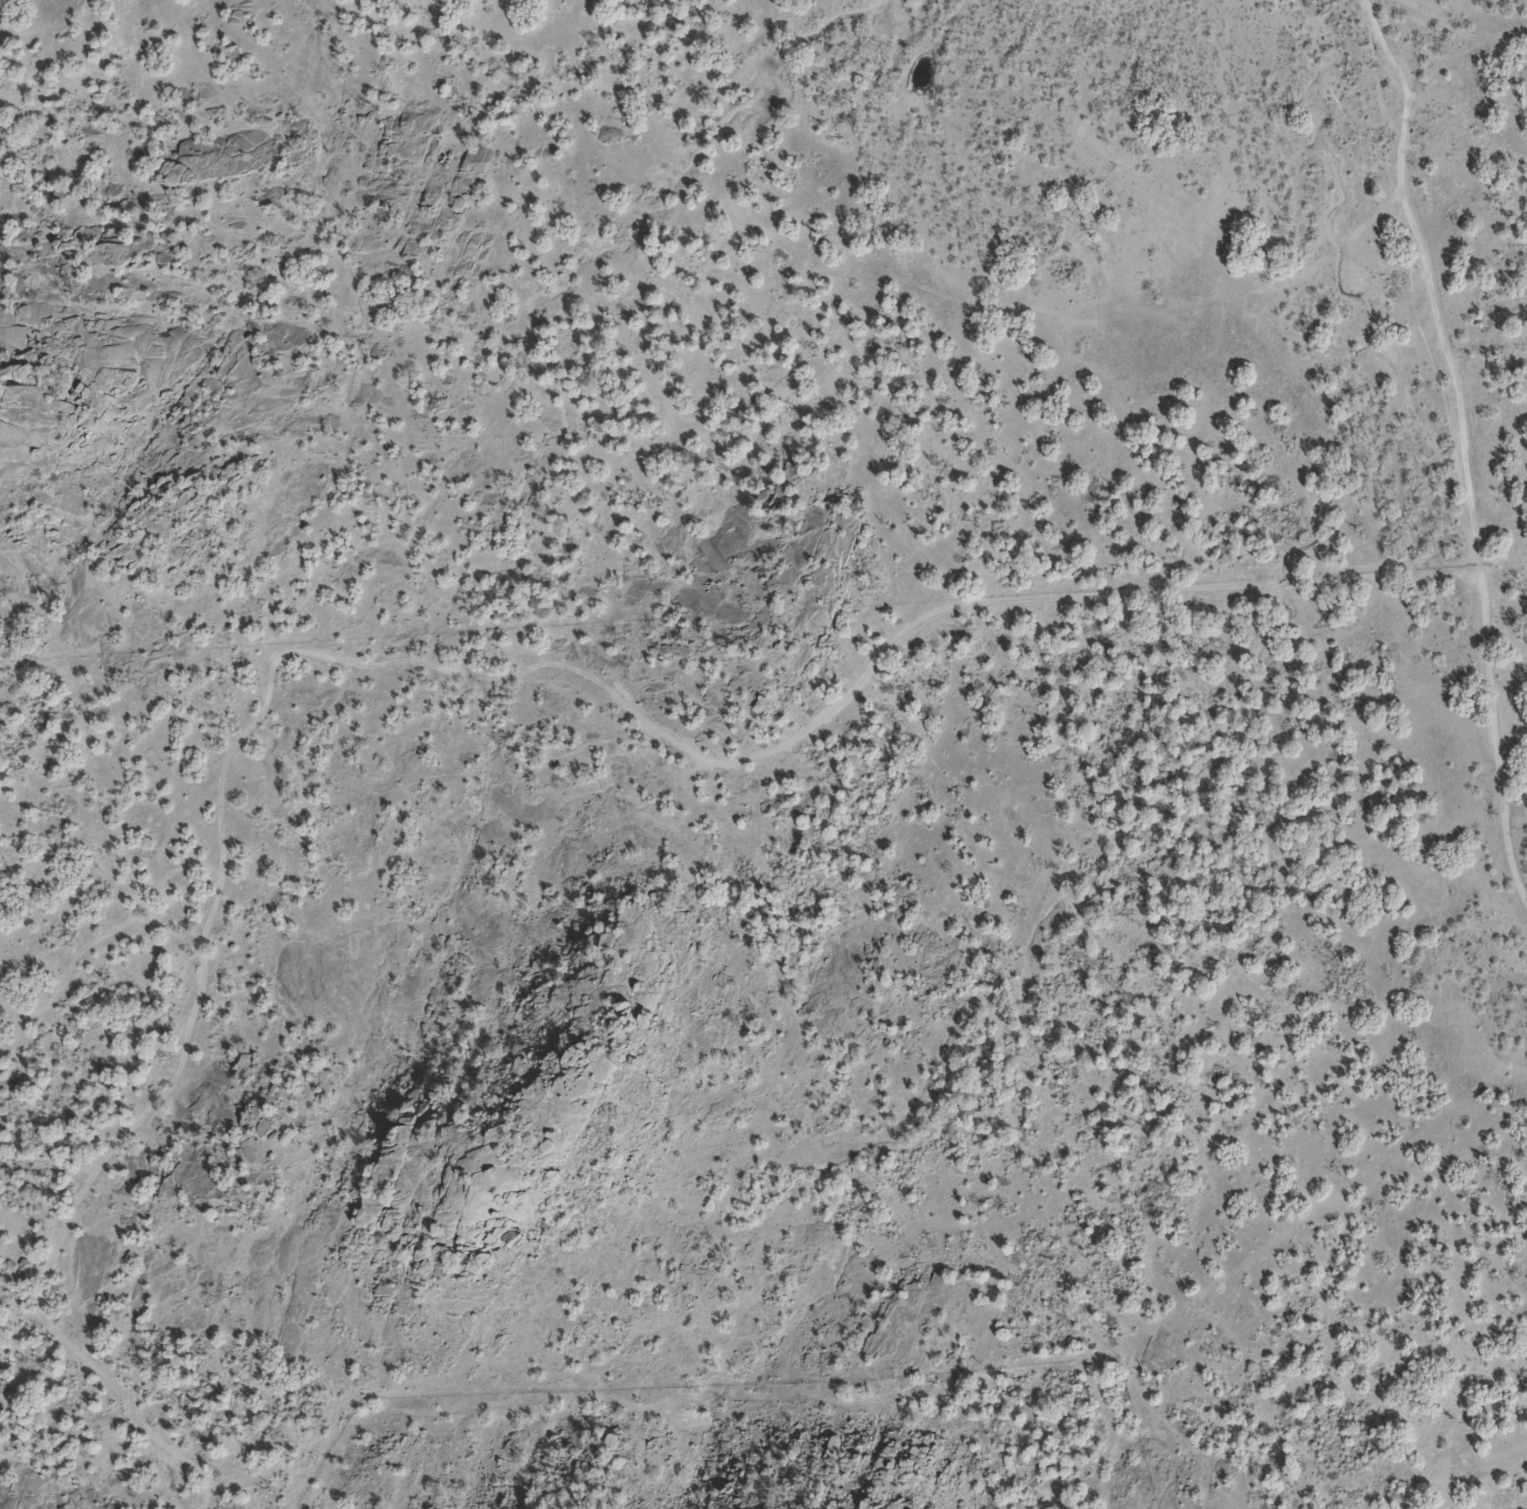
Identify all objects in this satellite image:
building: (366, 1221)

